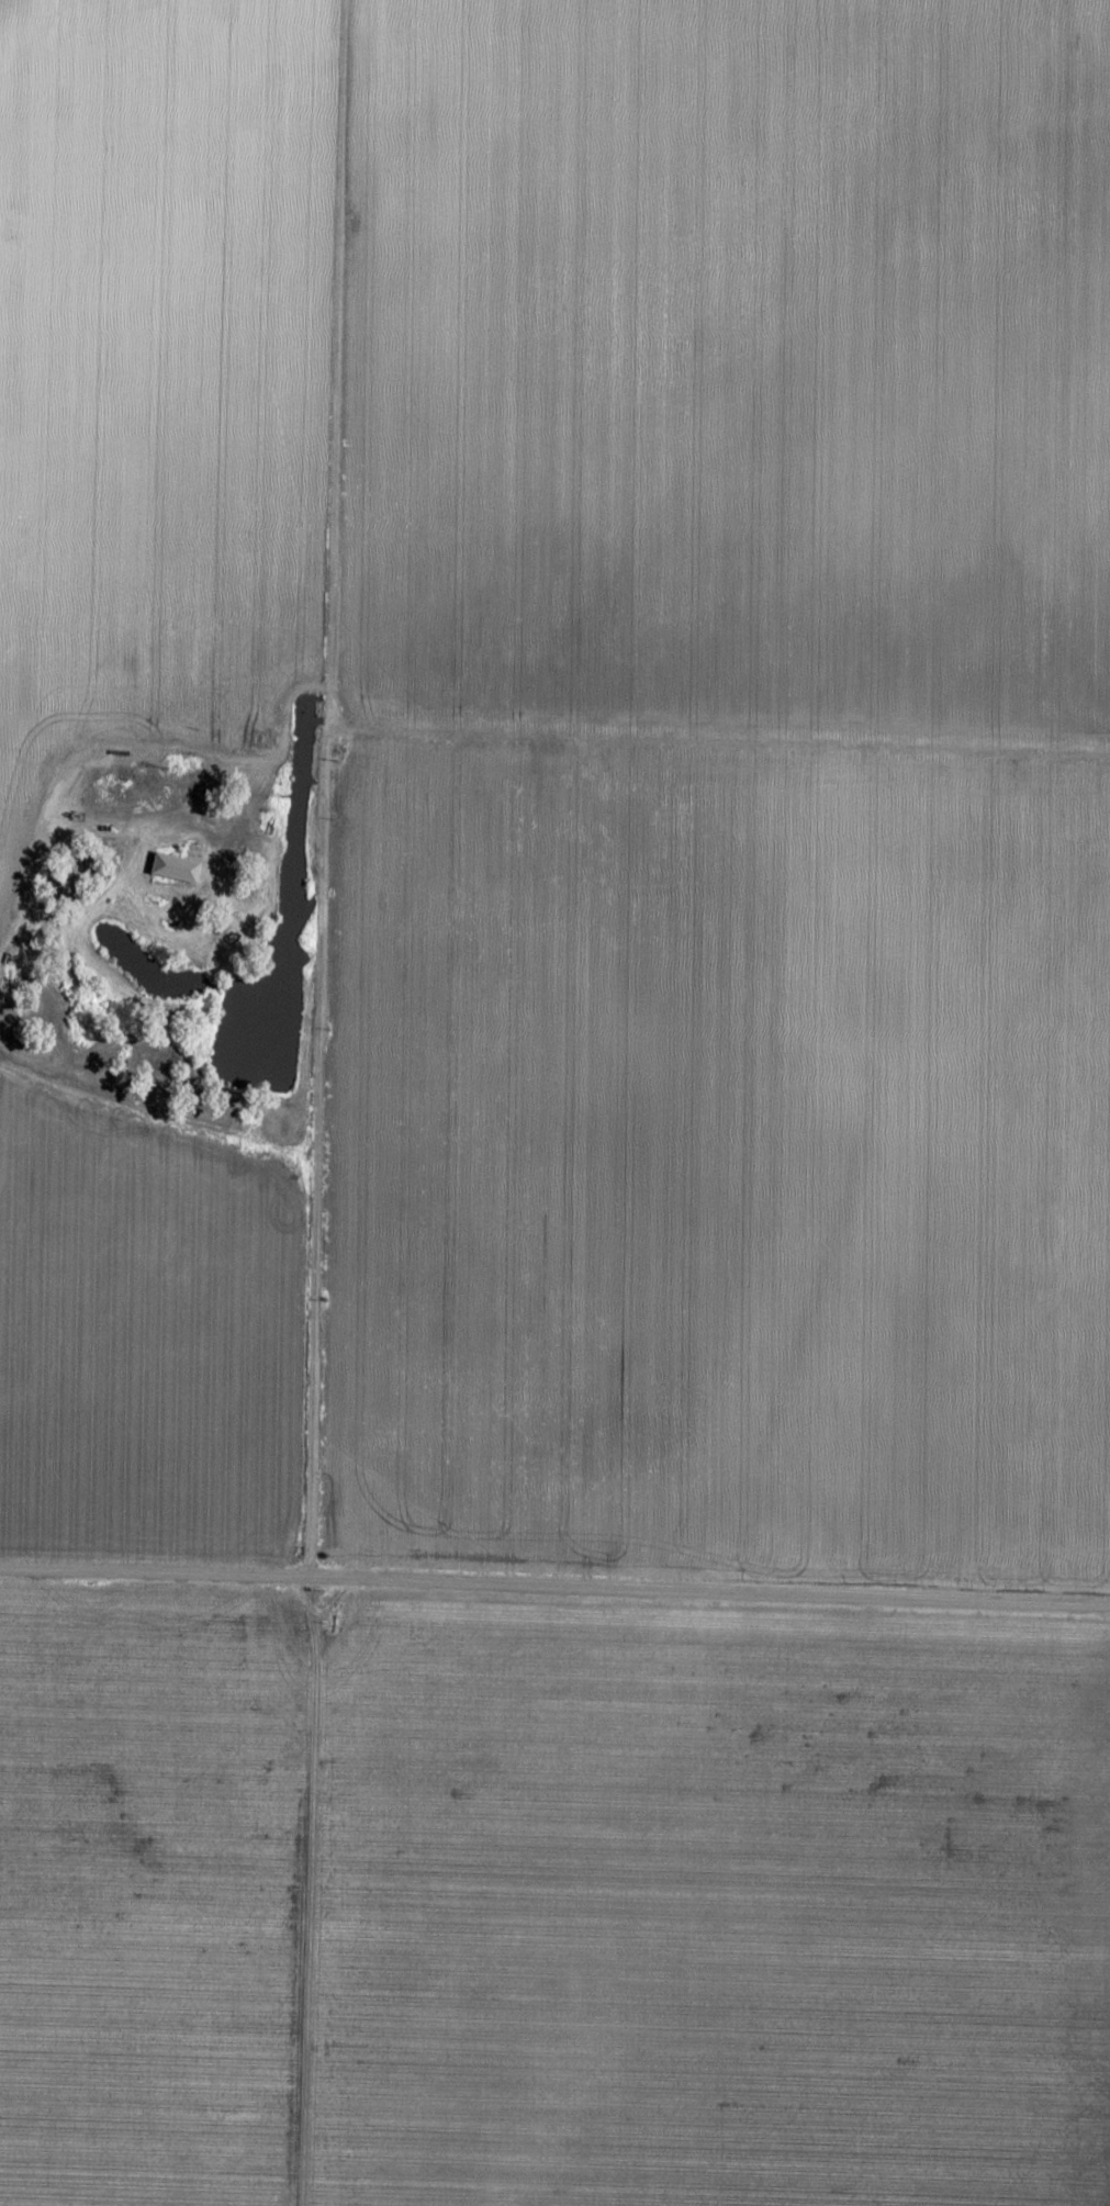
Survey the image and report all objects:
road: (27, 32)
road: (554, 1586)

